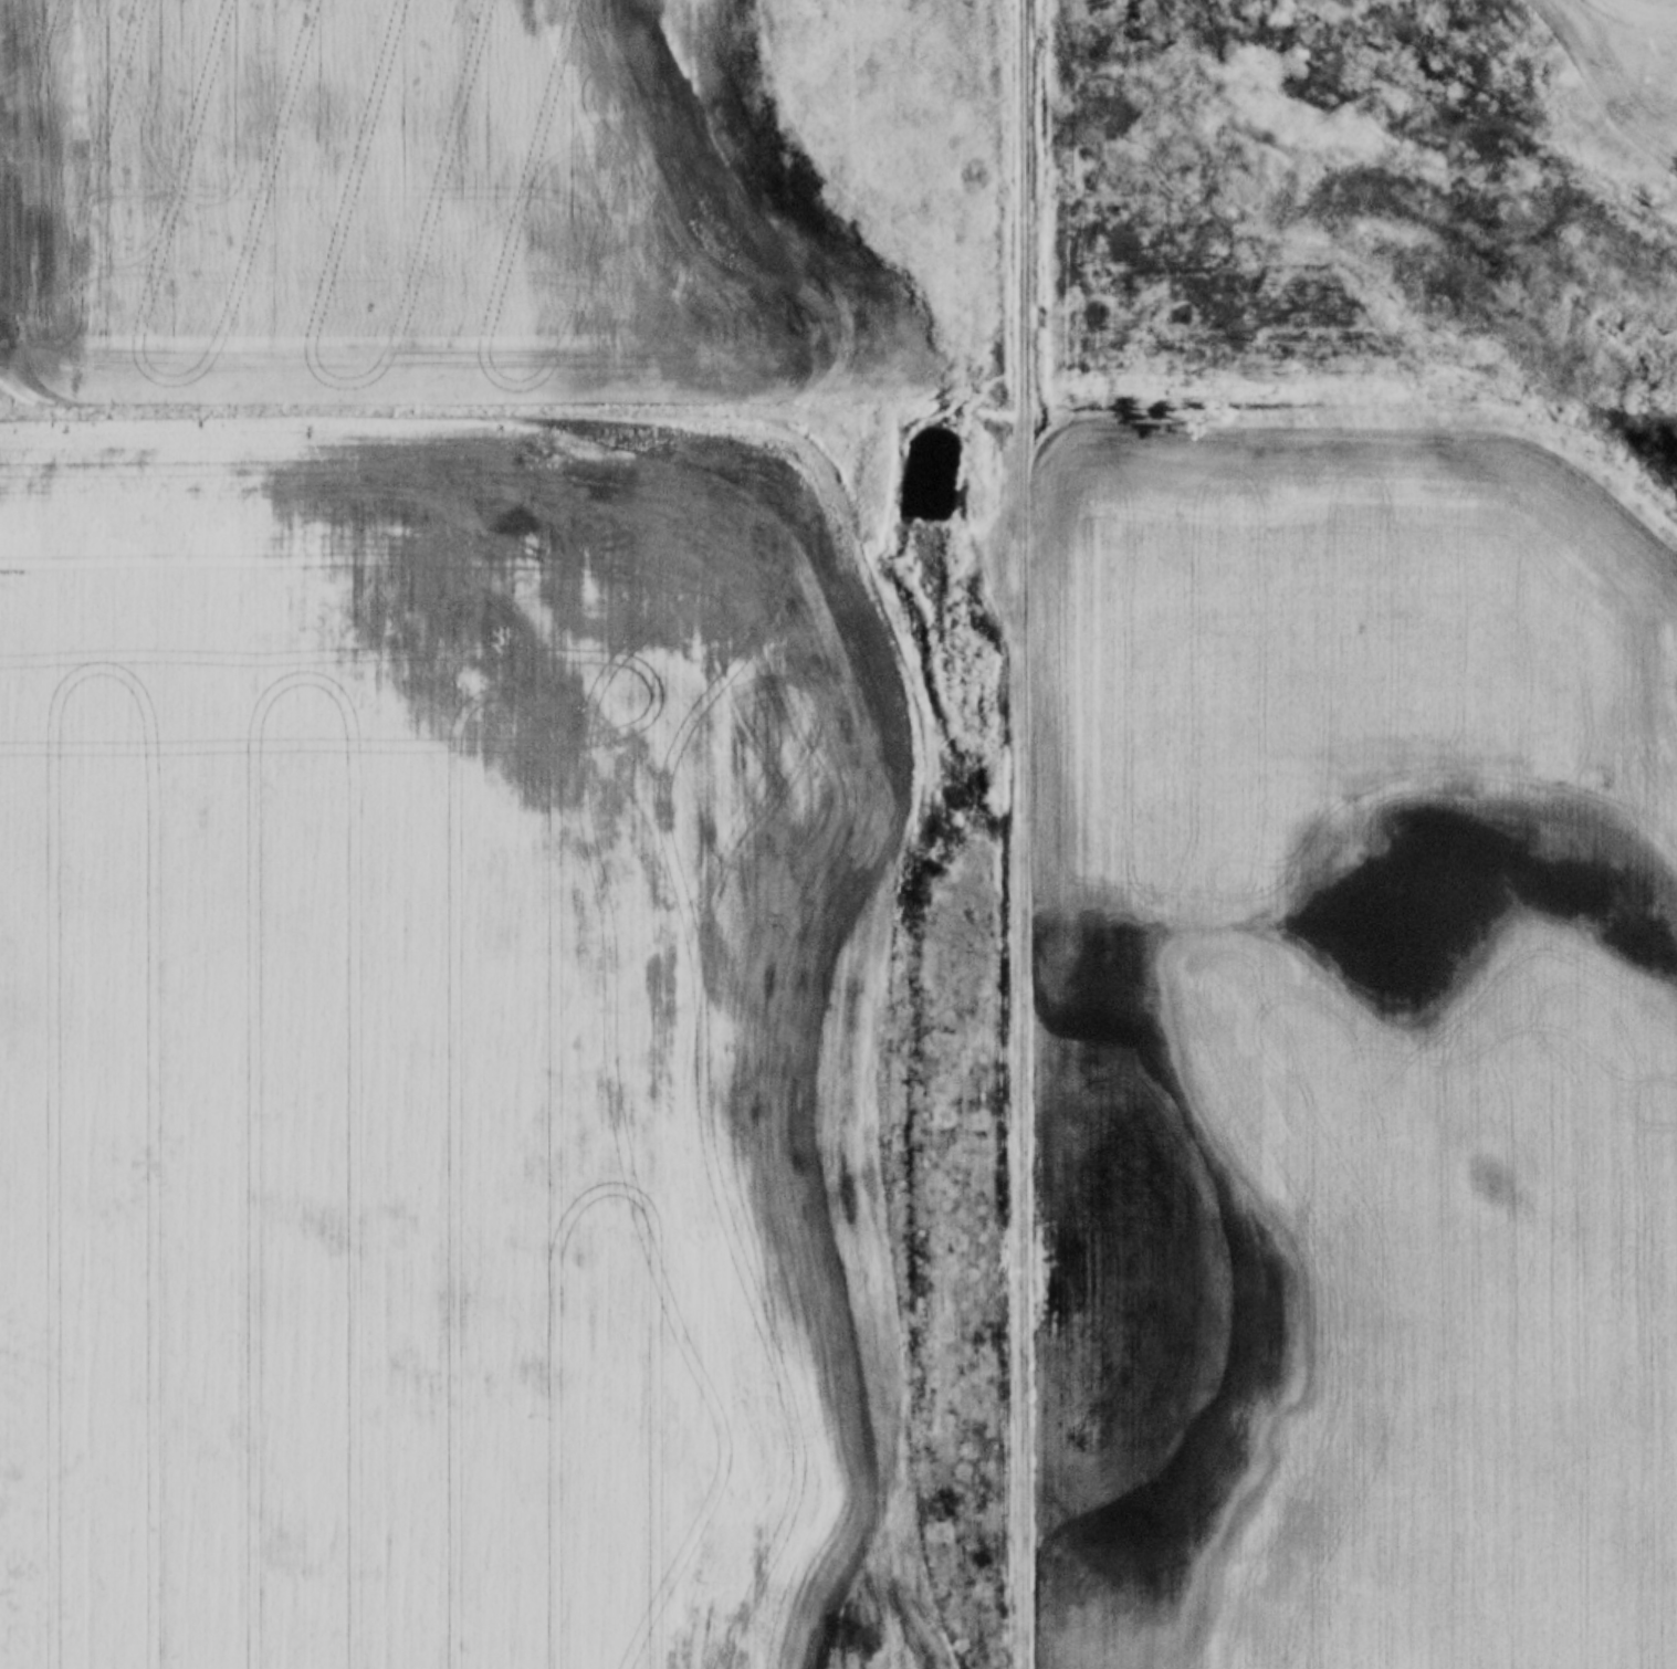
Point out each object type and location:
road: (509, 427)
road: (1021, 833)

